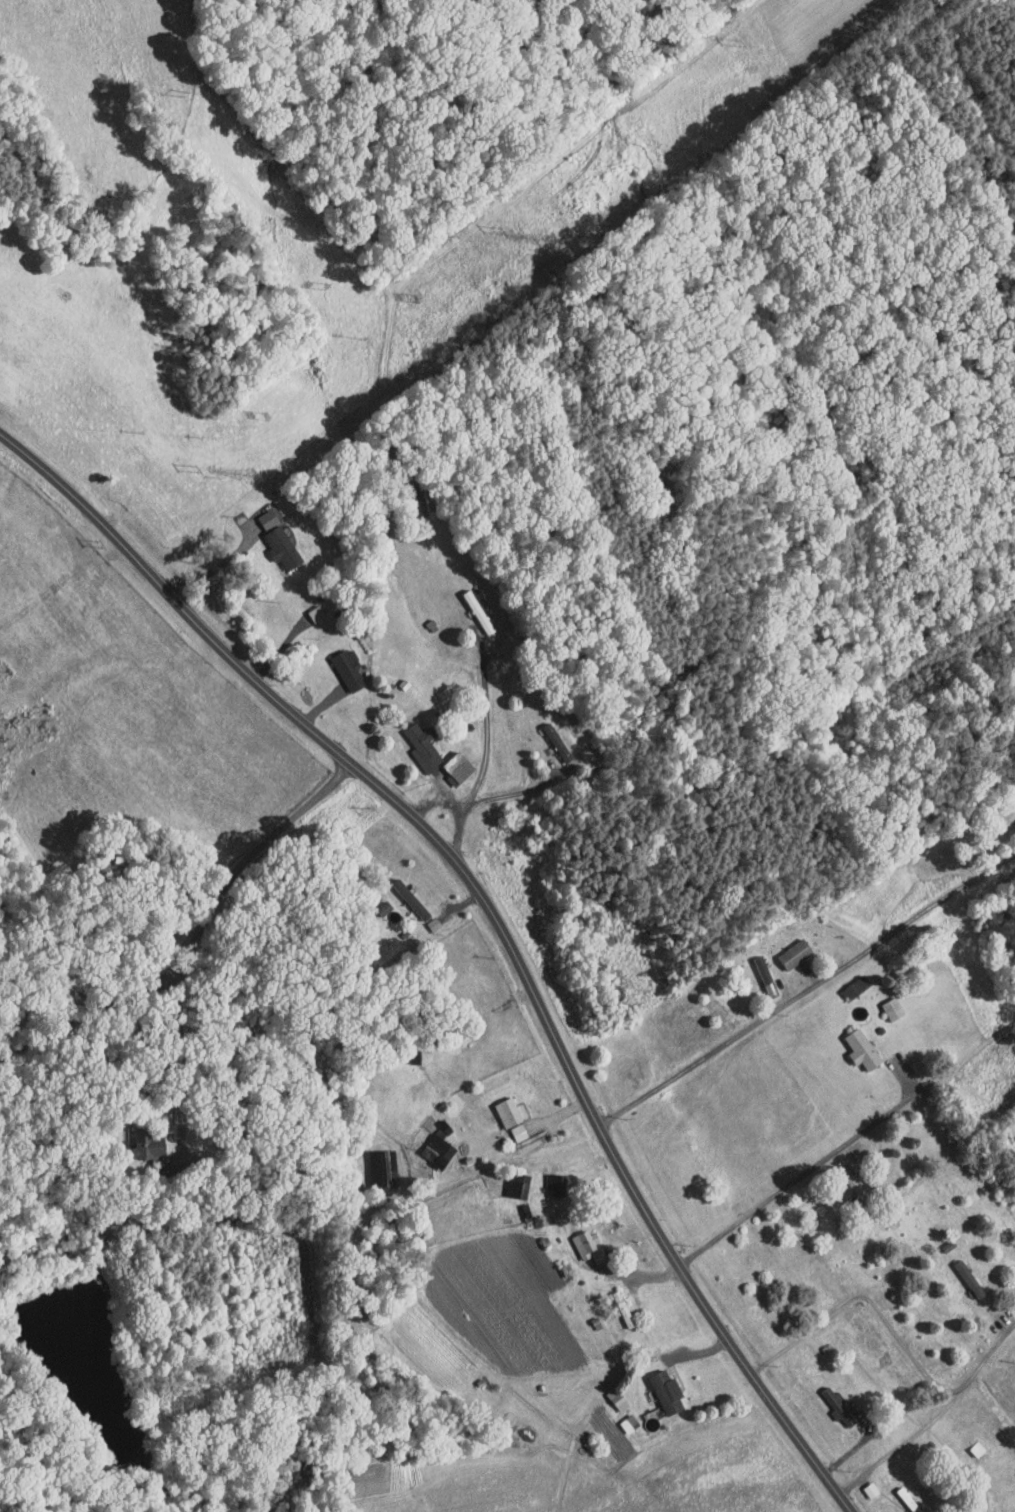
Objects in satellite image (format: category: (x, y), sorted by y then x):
power tower: (556, 242)
power tower: (256, 476)
building: (258, 513)
building: (273, 542)
road: (215, 568)
building: (305, 607)
building: (340, 664)
power tower: (4, 671)
building: (413, 741)
building: (552, 744)
building: (449, 760)
road: (484, 762)
road: (435, 801)
building: (423, 917)
road: (493, 920)
road: (195, 939)
building: (785, 947)
building: (845, 981)
road: (805, 989)
building: (853, 1043)
road: (181, 1045)
building: (498, 1105)
building: (509, 1125)
building: (136, 1139)
building: (429, 1143)
building: (372, 1161)
road: (796, 1178)
building: (507, 1181)
building: (577, 1239)
road: (631, 1275)
building: (965, 1281)
road: (892, 1328)
building: (657, 1386)
building: (607, 1392)
building: (828, 1400)
road: (861, 1443)
road: (895, 1443)
building: (861, 1483)

